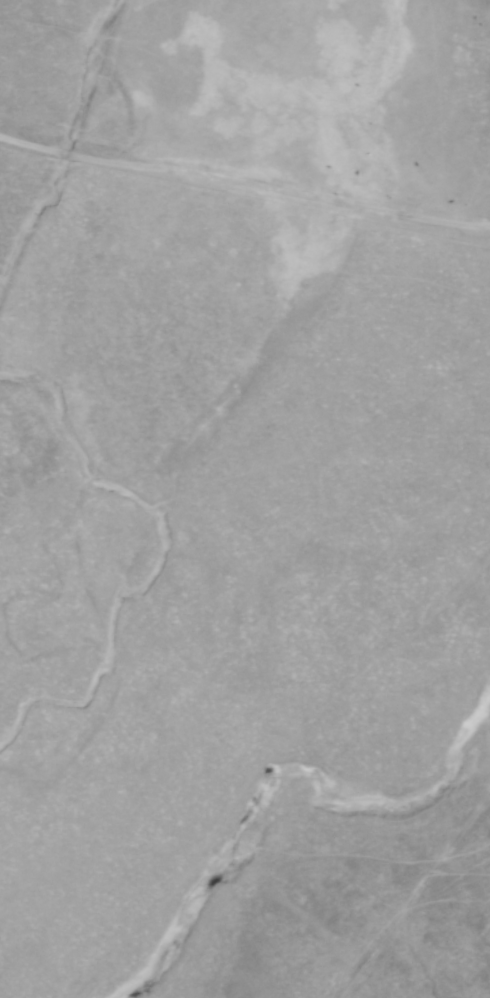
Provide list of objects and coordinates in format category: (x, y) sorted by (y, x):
road: (244, 186)
road: (416, 899)

